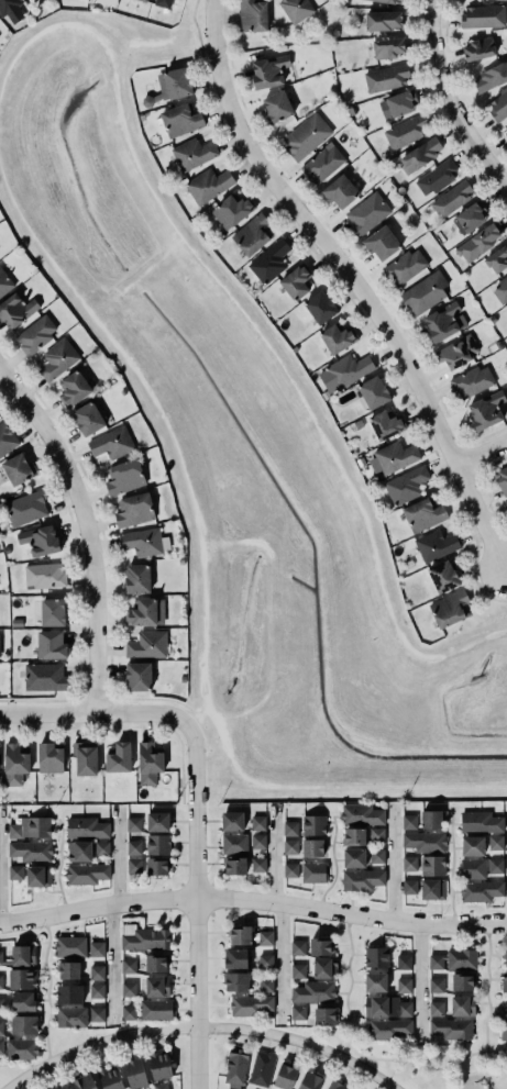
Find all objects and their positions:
building: (143, 0)
building: (387, 1)
building: (163, 3)
building: (12, 9)
building: (296, 9)
building: (253, 15)
building: (483, 16)
building: (383, 20)
road: (51, 24)
road: (197, 29)
road: (151, 41)
building: (388, 46)
building: (480, 47)
building: (268, 71)
building: (492, 76)
building: (386, 78)
building: (172, 86)
building: (398, 102)
road: (450, 103)
building: (498, 105)
building: (277, 107)
building: (180, 120)
building: (406, 130)
building: (505, 131)
building: (307, 135)
building: (194, 154)
building: (420, 154)
building: (322, 162)
building: (437, 177)
building: (209, 184)
building: (341, 191)
building: (452, 198)
building: (232, 211)
building: (366, 213)
building: (472, 215)
building: (252, 233)
road: (34, 236)
building: (382, 243)
building: (477, 243)
building: (497, 259)
building: (269, 260)
building: (405, 266)
building: (297, 280)
road: (351, 280)
building: (4, 281)
road: (220, 282)
building: (502, 289)
building: (425, 292)
building: (320, 307)
building: (15, 310)
building: (445, 321)
building: (36, 334)
building: (339, 336)
building: (458, 351)
building: (57, 359)
building: (349, 368)
building: (472, 381)
building: (74, 388)
building: (375, 391)
building: (486, 410)
road: (163, 415)
building: (88, 419)
building: (387, 425)
building: (7, 438)
building: (112, 442)
road: (482, 447)
building: (392, 458)
building: (19, 468)
building: (124, 477)
building: (503, 478)
building: (406, 485)
building: (506, 502)
building: (26, 507)
building: (134, 510)
building: (423, 514)
road: (84, 529)
building: (40, 541)
building: (142, 541)
road: (241, 541)
building: (436, 545)
building: (44, 575)
building: (443, 576)
building: (137, 578)
road: (382, 582)
building: (450, 608)
building: (53, 612)
building: (146, 612)
road: (205, 626)
road: (471, 642)
building: (52, 644)
building: (147, 644)
building: (45, 676)
building: (140, 676)
road: (158, 697)
road: (98, 711)
road: (200, 711)
building: (86, 757)
building: (49, 758)
building: (119, 758)
building: (148, 763)
building: (14, 764)
road: (332, 785)
building: (361, 814)
building: (431, 819)
building: (478, 820)
building: (158, 821)
building: (232, 821)
building: (409, 821)
building: (134, 823)
building: (258, 823)
building: (313, 825)
building: (30, 826)
building: (86, 827)
building: (290, 829)
building: (353, 833)
building: (377, 835)
building: (258, 841)
building: (425, 842)
building: (234, 843)
building: (495, 843)
building: (158, 844)
building: (134, 846)
building: (472, 846)
building: (290, 847)
building: (312, 847)
building: (101, 848)
building: (31, 849)
building: (79, 851)
road: (115, 853)
road: (272, 854)
building: (353, 855)
building: (375, 855)
road: (390, 860)
road: (333, 863)
building: (409, 863)
building: (134, 864)
road: (58, 865)
building: (258, 865)
building: (158, 866)
building: (235, 866)
building: (432, 866)
building: (496, 866)
building: (289, 868)
building: (473, 868)
building: (312, 870)
road: (451, 870)
building: (15, 873)
building: (87, 873)
building: (37, 876)
building: (360, 878)
building: (409, 887)
building: (432, 889)
building: (481, 891)
road: (96, 904)
road: (194, 908)
road: (350, 912)
building: (240, 935)
building: (265, 938)
building: (69, 945)
building: (320, 946)
building: (95, 947)
building: (298, 947)
building: (23, 955)
building: (233, 955)
road: (111, 956)
building: (1, 957)
building: (376, 957)
building: (506, 958)
road: (279, 959)
building: (461, 959)
building: (265, 960)
building: (403, 962)
building: (436, 962)
building: (156, 964)
building: (129, 966)
building: (324, 968)
building: (69, 970)
building: (298, 970)
building: (96, 973)
building: (22, 978)
building: (1, 981)
building: (236, 981)
building: (462, 981)
building: (504, 981)
building: (375, 982)
road: (418, 982)
building: (156, 984)
building: (266, 985)
building: (436, 985)
building: (404, 986)
road: (486, 988)
road: (46, 989)
building: (129, 989)
building: (97, 990)
building: (313, 992)
building: (69, 993)
building: (23, 1001)
building: (1, 1004)
building: (506, 1004)
building: (252, 1005)
building: (463, 1005)
building: (376, 1007)
building: (155, 1008)
building: (436, 1008)
building: (404, 1009)
building: (128, 1012)
building: (298, 1012)
building: (97, 1014)
building: (326, 1015)
building: (71, 1016)
building: (24, 1025)
building: (1, 1027)
building: (387, 1027)
building: (451, 1029)
building: (503, 1029)
road: (198, 1030)
building: (1, 1046)
building: (21, 1049)
road: (360, 1056)
building: (161, 1065)
building: (236, 1066)
road: (462, 1067)
building: (262, 1069)
road: (477, 1073)
building: (135, 1074)
building: (285, 1077)
road: (500, 1078)
building: (111, 1079)
building: (308, 1079)
building: (84, 1081)
building: (334, 1085)
building: (161, 1086)
building: (65, 1087)
building: (231, 1088)

